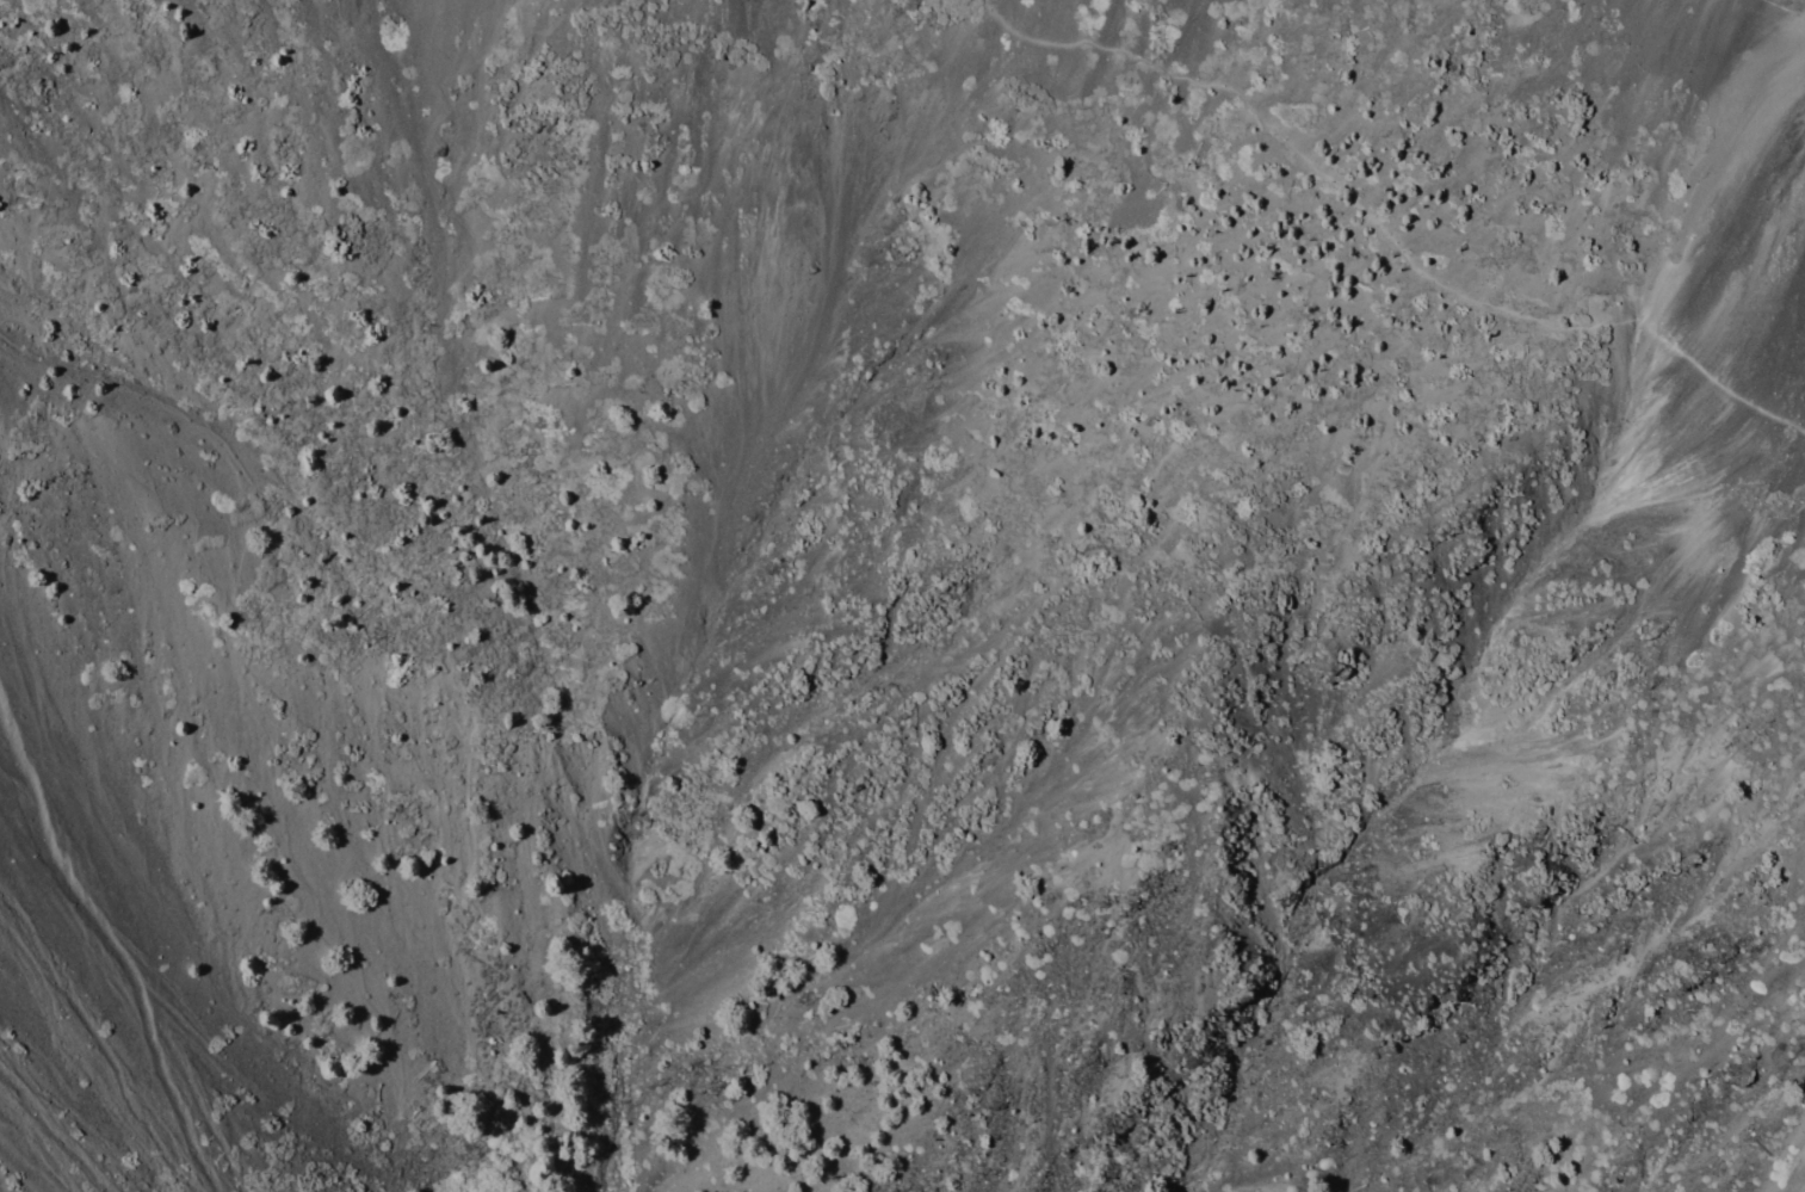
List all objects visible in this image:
road: (1789, 6)
road: (1384, 231)

